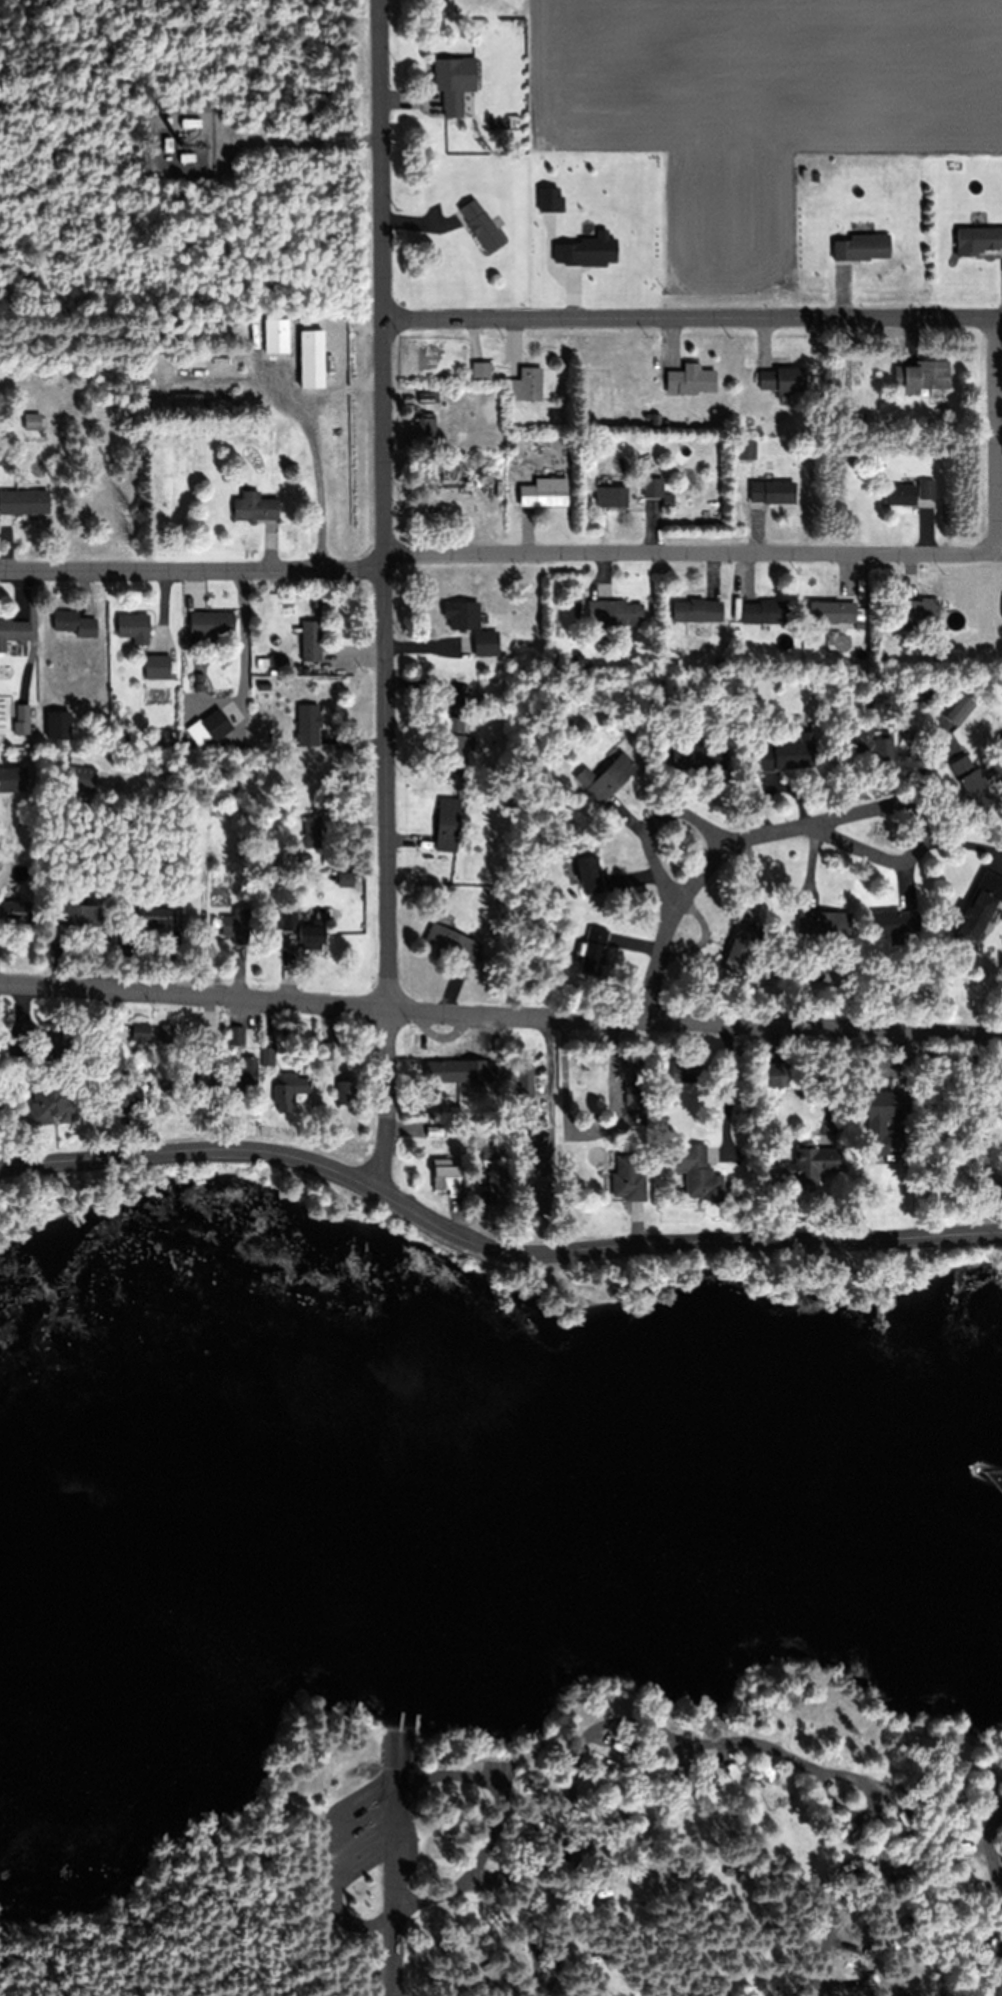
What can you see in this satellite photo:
building: (449, 86)
crop: (729, 130)
building: (167, 145)
building: (186, 158)
building: (481, 226)
building: (979, 240)
building: (863, 249)
road: (691, 319)
building: (277, 340)
building: (200, 352)
building: (312, 369)
building: (481, 370)
building: (222, 372)
building: (923, 377)
building: (689, 379)
building: (782, 379)
building: (526, 384)
building: (423, 397)
building: (857, 416)
building: (866, 416)
building: (656, 418)
building: (33, 421)
building: (426, 424)
road: (997, 437)
building: (745, 451)
building: (477, 467)
building: (493, 468)
building: (428, 474)
building: (653, 486)
building: (926, 488)
building: (772, 491)
building: (544, 492)
building: (899, 494)
building: (610, 496)
building: (668, 499)
building: (24, 501)
building: (255, 506)
road: (498, 562)
road: (385, 593)
building: (697, 609)
building: (766, 611)
building: (831, 611)
building: (919, 611)
building: (614, 612)
building: (460, 615)
building: (68, 621)
building: (210, 623)
building: (133, 625)
building: (13, 631)
building: (310, 639)
building: (483, 642)
building: (52, 652)
building: (884, 659)
building: (281, 660)
building: (578, 660)
building: (719, 661)
building: (157, 666)
building: (199, 678)
building: (265, 683)
building: (958, 710)
building: (23, 713)
building: (307, 725)
building: (454, 740)
building: (873, 744)
building: (698, 755)
building: (781, 755)
building: (2, 771)
building: (606, 777)
building: (79, 778)
building: (970, 779)
building: (302, 786)
building: (77, 800)
road: (659, 817)
building: (446, 824)
building: (312, 832)
road: (812, 833)
building: (588, 872)
building: (980, 905)
building: (15, 911)
building: (78, 914)
building: (149, 915)
building: (289, 920)
building: (824, 922)
building: (893, 923)
building: (235, 925)
building: (311, 936)
building: (451, 942)
building: (738, 947)
building: (593, 950)
building: (801, 954)
building: (814, 971)
building: (936, 994)
road: (500, 1014)
building: (141, 1031)
building: (166, 1034)
building: (237, 1035)
building: (57, 1041)
building: (324, 1050)
building: (215, 1055)
building: (268, 1056)
building: (92, 1061)
building: (442, 1069)
building: (493, 1070)
building: (243, 1074)
building: (687, 1075)
building: (772, 1076)
building: (203, 1082)
building: (726, 1082)
building: (523, 1084)
building: (289, 1090)
building: (345, 1090)
building: (634, 1093)
building: (700, 1093)
building: (909, 1093)
building: (128, 1098)
building: (59, 1102)
building: (900, 1104)
building: (184, 1106)
building: (640, 1110)
building: (762, 1118)
building: (537, 1127)
building: (432, 1130)
building: (884, 1142)
building: (817, 1156)
building: (540, 1163)
building: (449, 1178)
building: (628, 1179)
building: (702, 1183)
building: (491, 1195)
building: (543, 1199)
road: (490, 1245)
river: (498, 1509)
park: (488, 1607)
road: (707, 1747)
parking lot: (505, 1778)
building: (542, 1793)
road: (932, 1797)
road: (497, 1822)
parking lot: (371, 1831)
road: (989, 1851)
road: (336, 1859)
road: (401, 1867)
building: (728, 1871)
park: (656, 1877)
building: (502, 1880)
road: (166, 1885)
building: (599, 1895)
building: (592, 1961)
building: (483, 1965)

